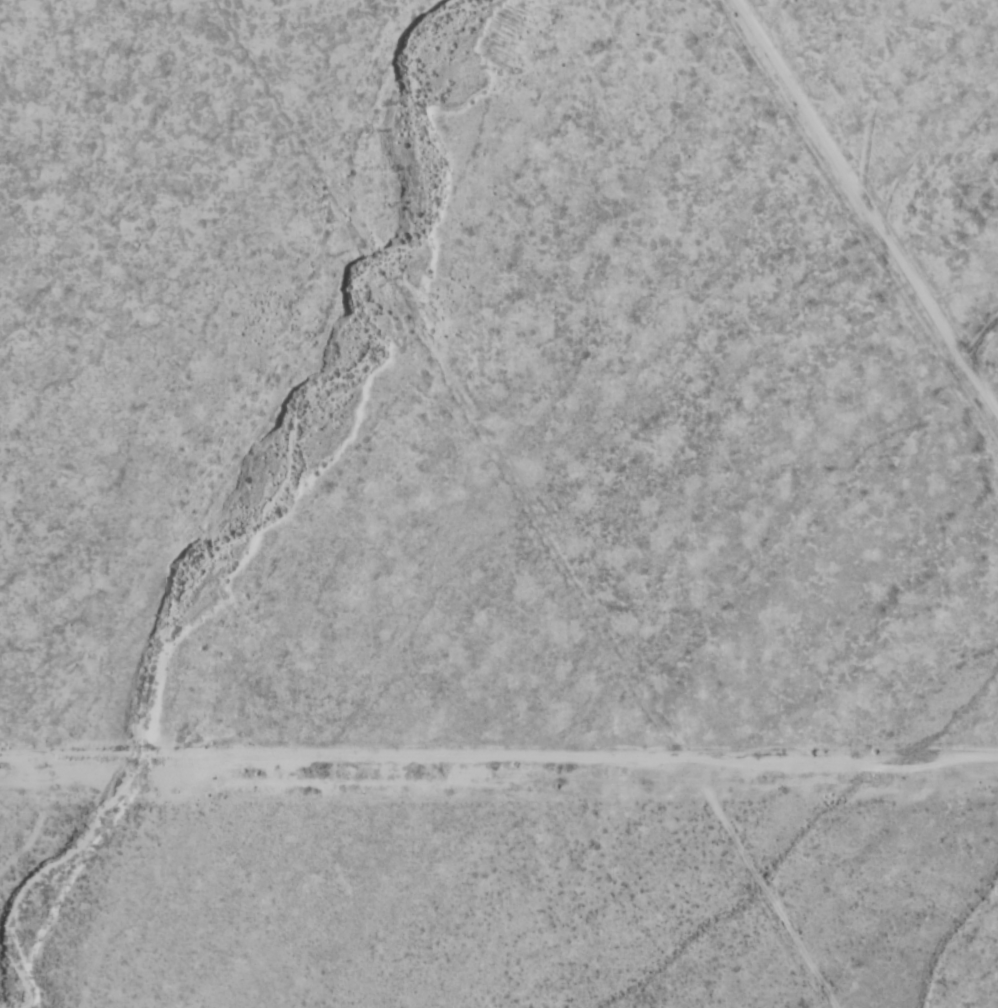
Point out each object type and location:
road: (849, 228)

